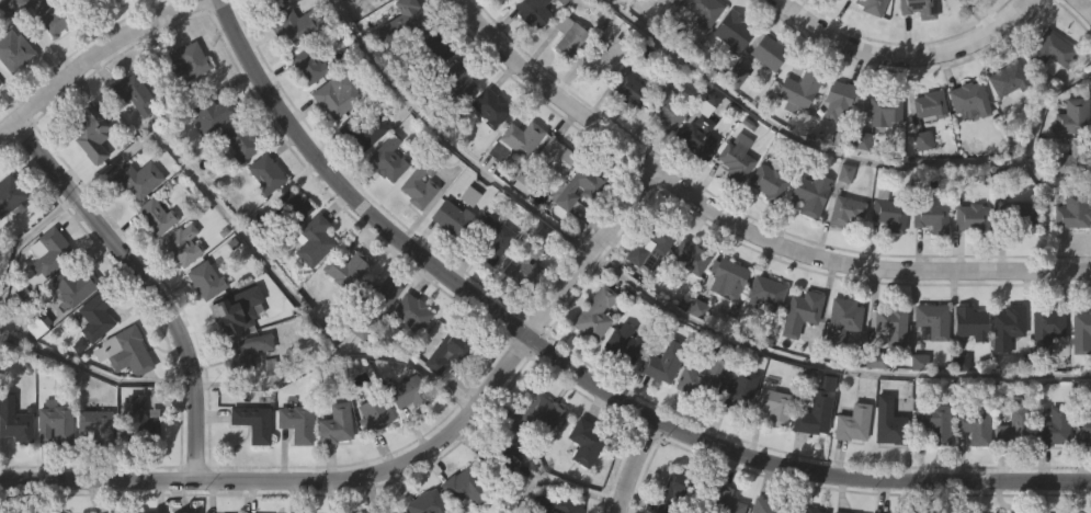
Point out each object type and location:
building: (107, 1)
building: (674, 1)
building: (1089, 1)
building: (360, 2)
building: (478, 2)
building: (270, 3)
building: (872, 5)
road: (1084, 7)
building: (637, 8)
building: (802, 8)
building: (919, 8)
building: (1090, 8)
building: (704, 9)
building: (533, 11)
building: (147, 12)
building: (46, 13)
building: (832, 20)
building: (968, 23)
building: (295, 24)
building: (398, 24)
building: (505, 24)
building: (667, 29)
building: (103, 31)
building: (734, 31)
building: (274, 32)
building: (567, 35)
building: (867, 44)
building: (434, 45)
building: (914, 47)
building: (13, 50)
building: (769, 52)
building: (1050, 52)
building: (700, 53)
building: (530, 54)
road: (95, 55)
building: (38, 56)
building: (603, 57)
road: (904, 58)
building: (183, 61)
building: (309, 64)
building: (397, 68)
building: (289, 71)
building: (459, 78)
building: (730, 79)
building: (1010, 79)
building: (566, 83)
building: (799, 88)
building: (626, 90)
building: (431, 91)
building: (132, 93)
building: (337, 93)
building: (12, 96)
building: (967, 96)
building: (765, 99)
building: (838, 99)
building: (1046, 99)
building: (930, 103)
building: (490, 106)
building: (596, 106)
building: (185, 107)
building: (668, 109)
building: (887, 109)
building: (305, 111)
building: (211, 112)
building: (1073, 116)
building: (734, 122)
building: (459, 123)
building: (1003, 125)
building: (363, 129)
building: (86, 133)
building: (698, 136)
building: (795, 136)
building: (627, 137)
building: (129, 139)
building: (516, 139)
building: (333, 140)
building: (238, 141)
road: (446, 141)
building: (965, 145)
building: (836, 147)
building: (925, 151)
building: (487, 152)
road: (852, 152)
building: (556, 156)
building: (736, 156)
building: (662, 157)
building: (882, 157)
building: (388, 159)
building: (1072, 159)
building: (209, 160)
building: (264, 173)
building: (360, 176)
building: (136, 179)
building: (421, 180)
building: (769, 181)
building: (695, 182)
building: (86, 183)
building: (519, 183)
building: (918, 186)
building: (594, 187)
building: (236, 189)
road: (346, 190)
building: (812, 192)
building: (9, 193)
building: (496, 196)
building: (552, 203)
building: (732, 204)
building: (385, 205)
building: (294, 208)
building: (888, 209)
building: (1073, 209)
building: (846, 210)
building: (156, 215)
building: (932, 215)
building: (1015, 215)
building: (452, 217)
building: (974, 217)
building: (263, 219)
building: (135, 225)
road: (739, 225)
building: (764, 228)
building: (578, 231)
building: (416, 232)
road: (23, 238)
building: (493, 238)
building: (9, 239)
building: (314, 240)
building: (661, 240)
building: (808, 240)
building: (182, 243)
road: (591, 249)
building: (50, 252)
building: (289, 252)
building: (691, 255)
building: (843, 258)
building: (1069, 259)
building: (886, 260)
road: (263, 261)
building: (1012, 261)
building: (151, 262)
building: (928, 262)
building: (448, 263)
building: (526, 263)
building: (968, 264)
building: (346, 269)
building: (730, 276)
building: (206, 280)
road: (146, 283)
building: (75, 285)
building: (311, 286)
building: (490, 286)
building: (180, 290)
building: (647, 290)
building: (378, 293)
building: (765, 293)
building: (46, 297)
building: (686, 301)
building: (522, 310)
building: (412, 311)
building: (802, 311)
building: (595, 312)
building: (95, 315)
building: (342, 315)
building: (230, 317)
building: (842, 320)
building: (933, 320)
building: (971, 321)
building: (893, 323)
building: (203, 326)
building: (727, 327)
building: (1046, 327)
building: (1008, 328)
building: (71, 331)
building: (1082, 332)
building: (762, 339)
building: (379, 341)
building: (625, 344)
building: (450, 350)
building: (235, 351)
building: (124, 352)
building: (409, 358)
building: (798, 358)
building: (592, 360)
building: (663, 361)
building: (92, 363)
building: (228, 363)
road: (827, 364)
building: (839, 366)
building: (967, 368)
building: (887, 371)
road: (94, 373)
building: (702, 373)
building: (1044, 373)
building: (1003, 374)
building: (355, 375)
building: (1079, 377)
road: (589, 379)
building: (621, 388)
building: (735, 388)
building: (409, 391)
building: (242, 396)
building: (443, 397)
building: (122, 398)
building: (775, 406)
building: (872, 406)
building: (659, 408)
building: (914, 408)
building: (956, 408)
building: (374, 414)
building: (536, 414)
building: (815, 414)
building: (55, 422)
building: (143, 422)
building: (252, 422)
building: (296, 422)
building: (853, 422)
building: (889, 422)
building: (934, 422)
building: (974, 423)
building: (337, 424)
building: (95, 425)
building: (695, 425)
building: (16, 426)
building: (1015, 426)
building: (1052, 428)
building: (1081, 429)
building: (732, 434)
building: (406, 438)
building: (586, 442)
building: (503, 449)
building: (772, 452)
building: (372, 460)
building: (533, 460)
building: (811, 460)
building: (137, 463)
road: (632, 464)
building: (885, 467)
building: (930, 467)
building: (250, 468)
building: (293, 468)
building: (53, 469)
building: (332, 469)
building: (850, 469)
building: (1011, 470)
building: (16, 471)
building: (94, 471)
building: (970, 471)
building: (1049, 474)
building: (1081, 475)
road: (868, 476)
road: (293, 482)
road: (558, 482)
building: (465, 487)
building: (583, 488)
building: (678, 490)
building: (503, 499)
building: (726, 501)
building: (427, 503)
building: (556, 504)
building: (768, 506)
road: (628, 509)
building: (807, 510)
building: (375, 511)
building: (465, 512)
building: (837, 512)

